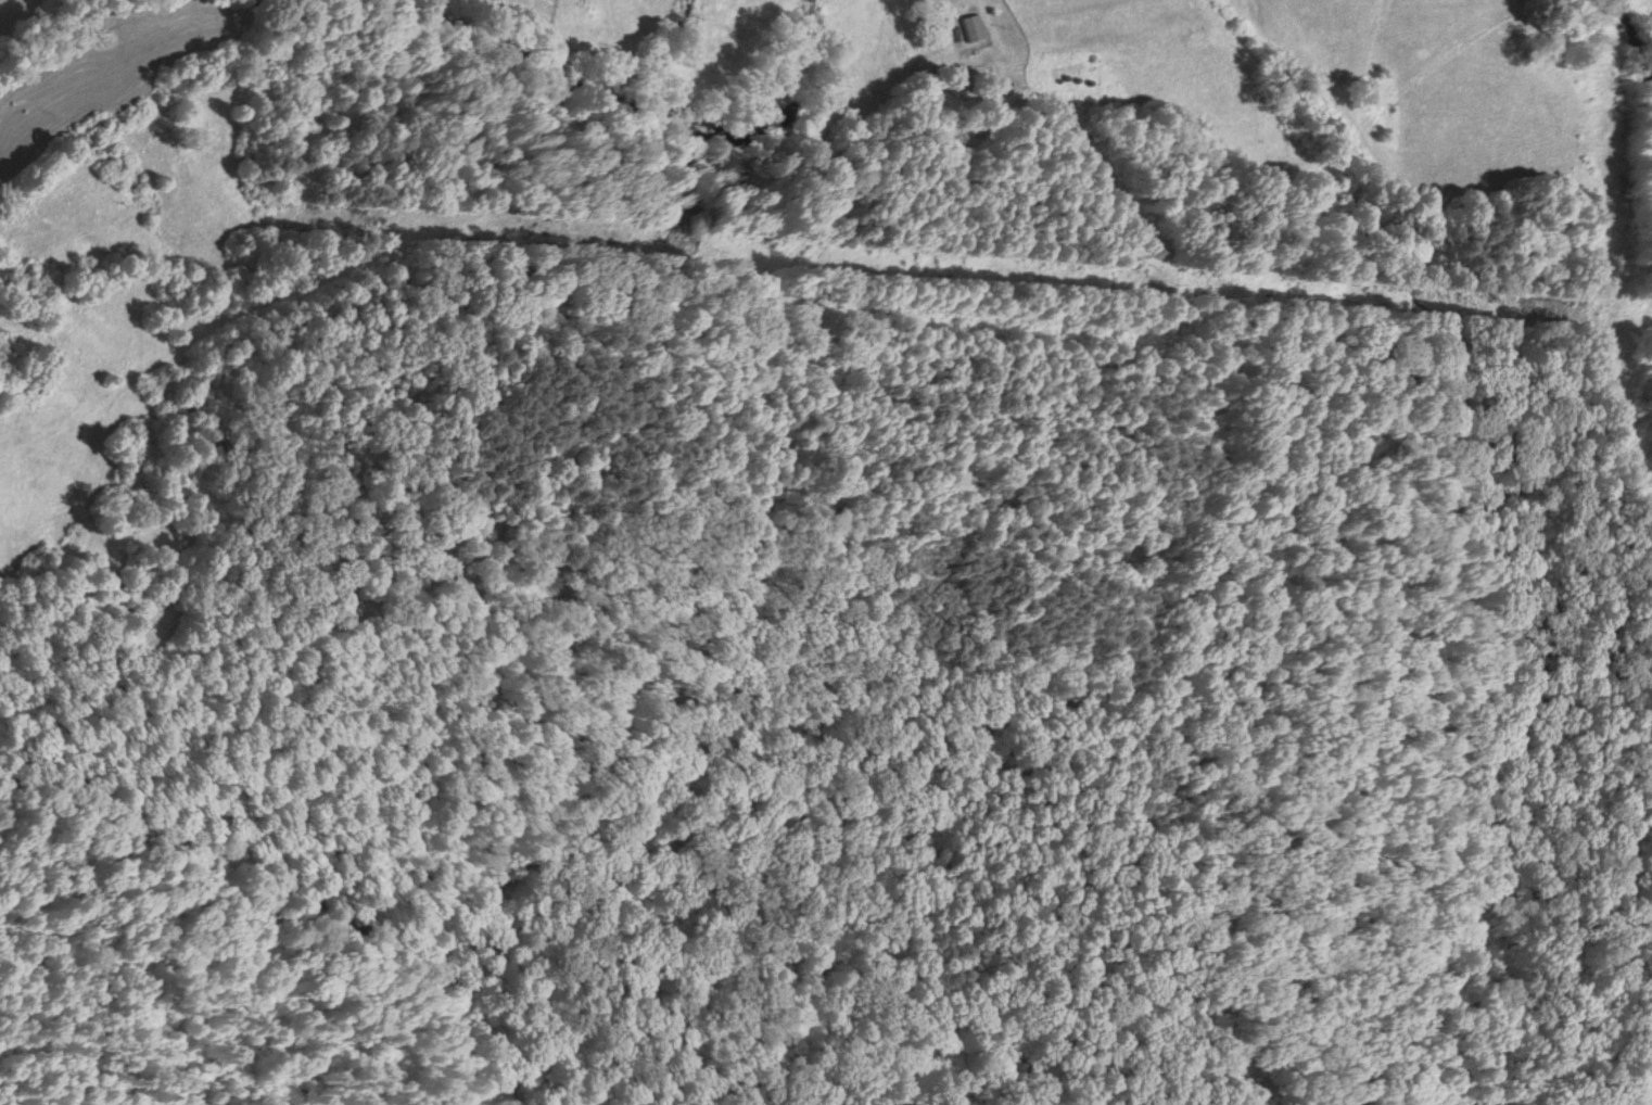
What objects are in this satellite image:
building: (970, 26)

